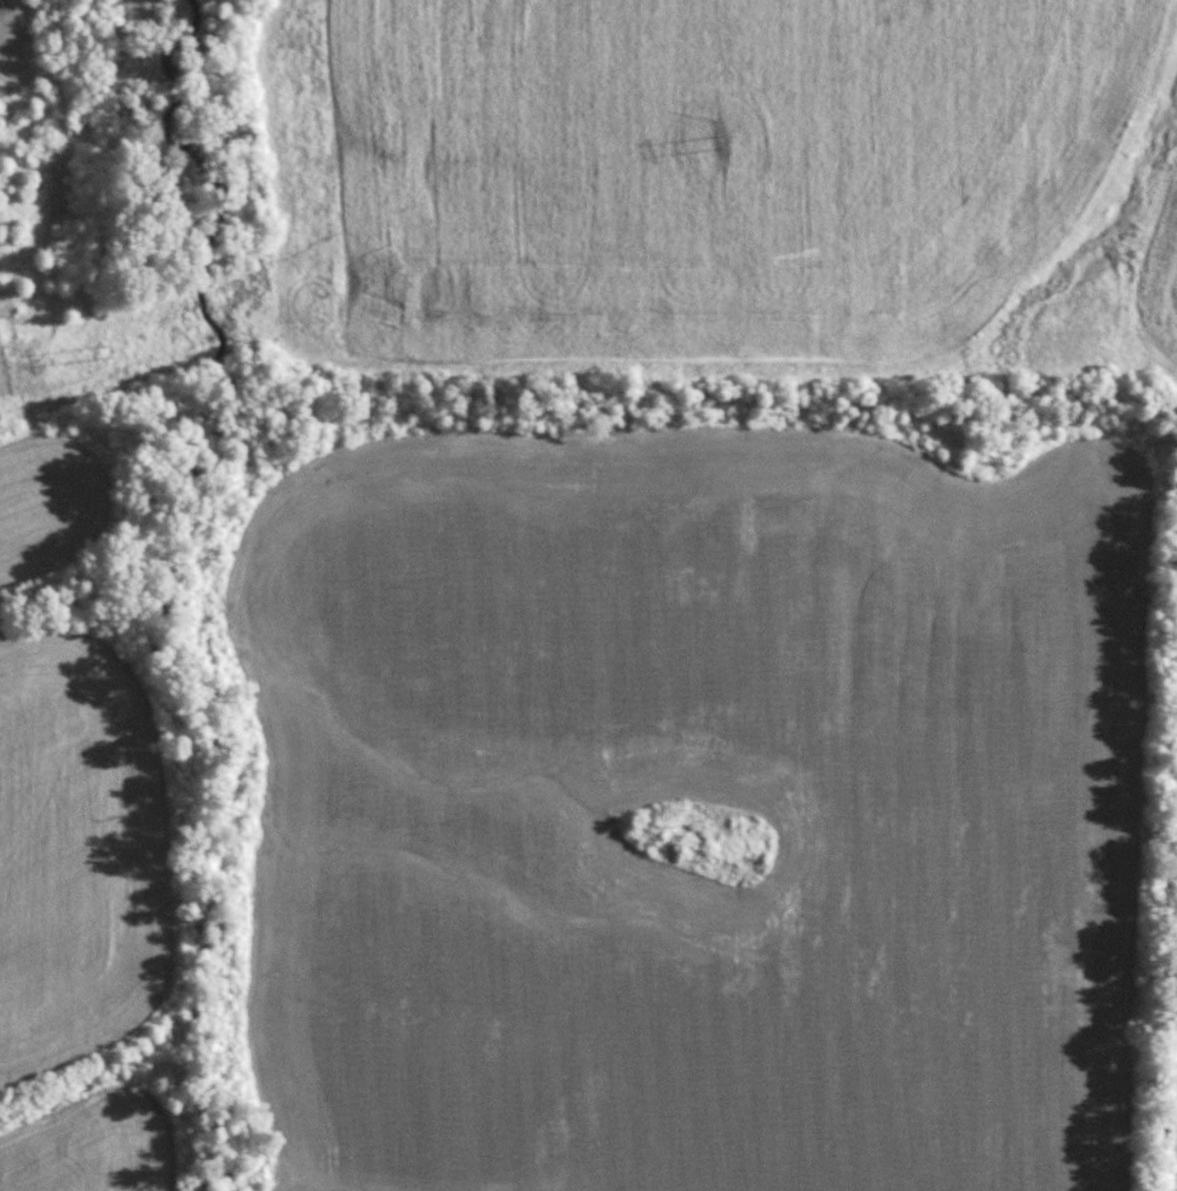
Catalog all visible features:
power tower: (723, 145)
power tower: (119, 348)

